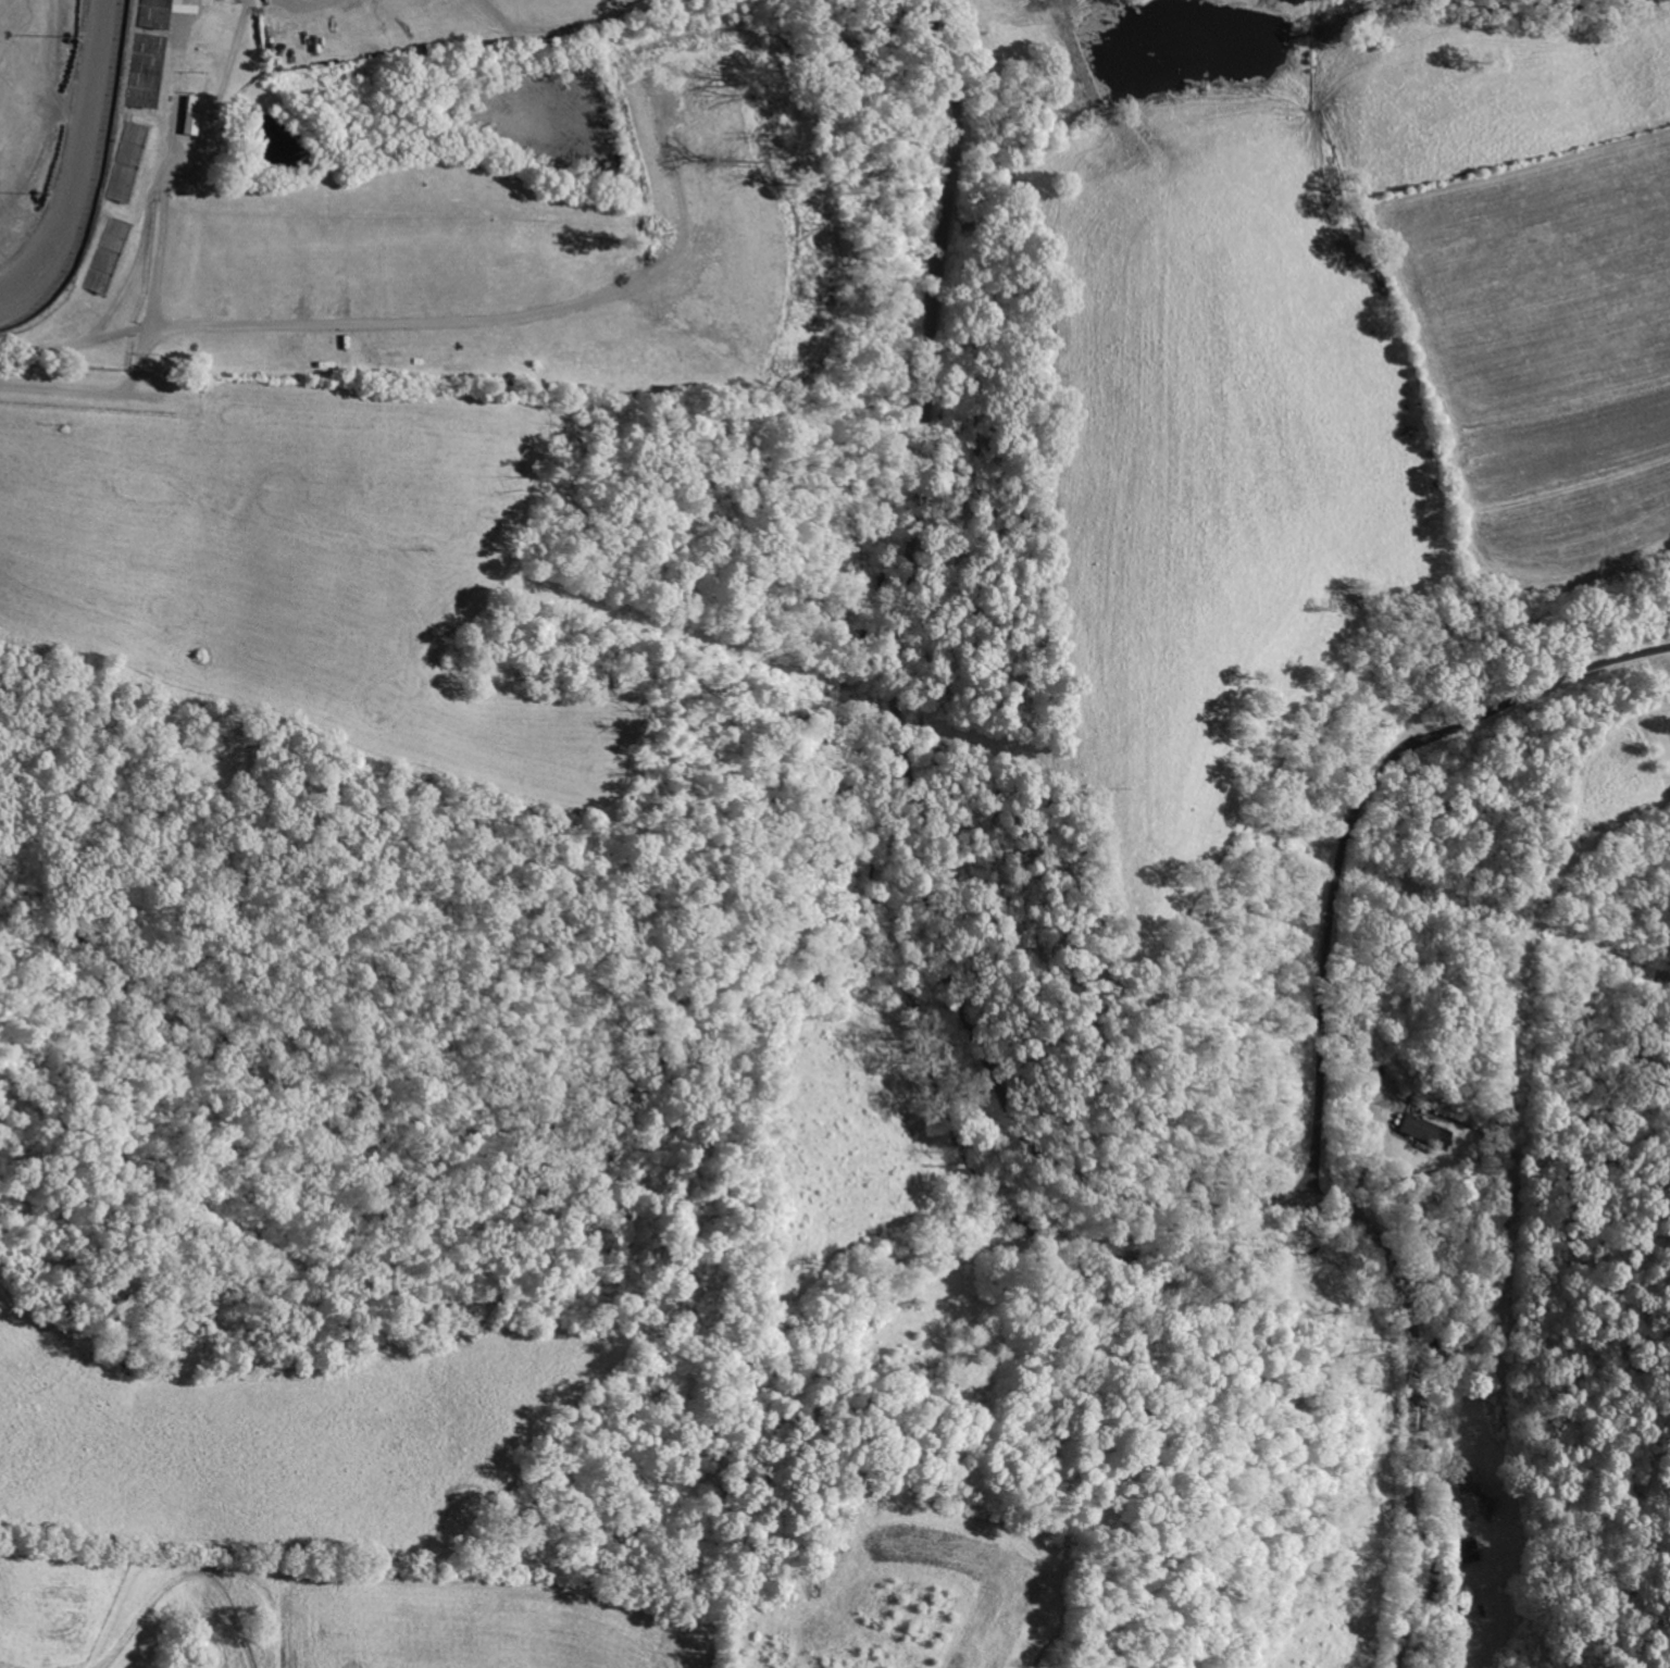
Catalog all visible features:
building: (199, 2)
building: (154, 12)
building: (147, 69)
building: (190, 115)
building: (128, 162)
raceway: (82, 166)
raceway: (74, 172)
road: (163, 245)
building: (108, 253)
road: (99, 391)
road: (1351, 827)
road: (949, 981)
building: (1428, 1131)
road: (1369, 1146)
building: (1474, 1501)
building: (1469, 1552)

